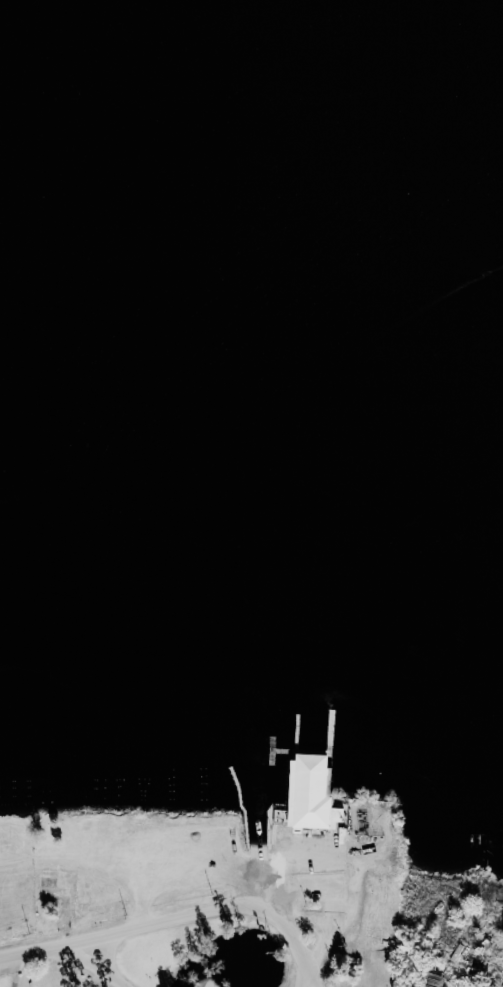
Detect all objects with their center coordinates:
building: (309, 793)
park: (107, 910)
road: (179, 919)
road: (102, 965)
road: (29, 969)
building: (430, 980)
road: (313, 985)

